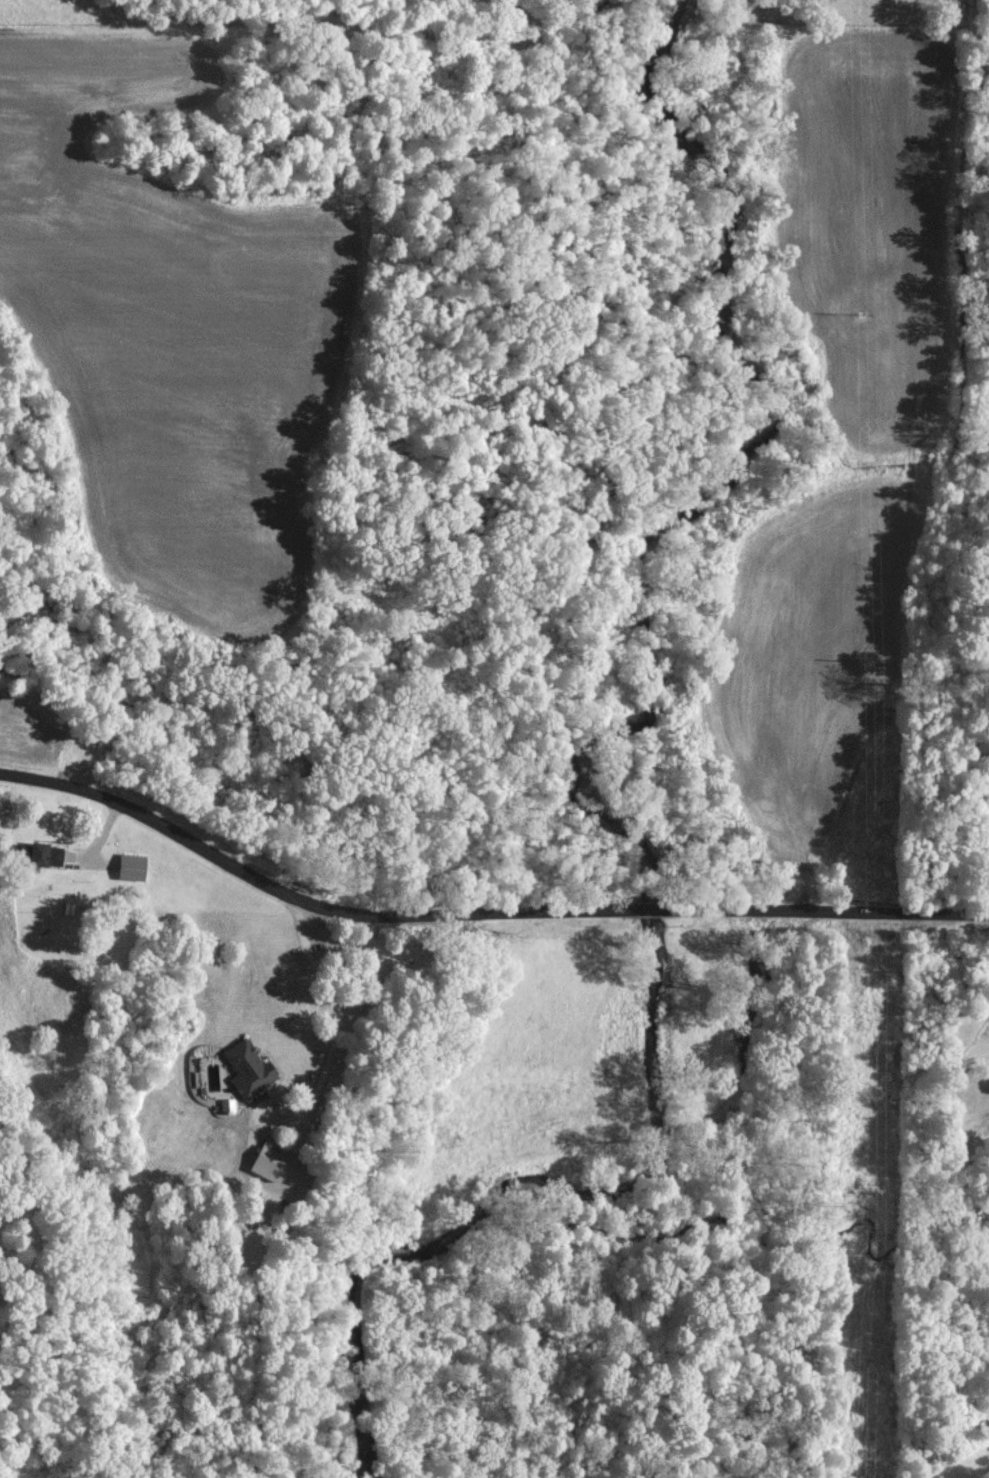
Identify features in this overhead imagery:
building: (42, 853)
building: (133, 866)
road: (478, 917)
road: (339, 1022)
building: (251, 1068)
building: (270, 1161)

